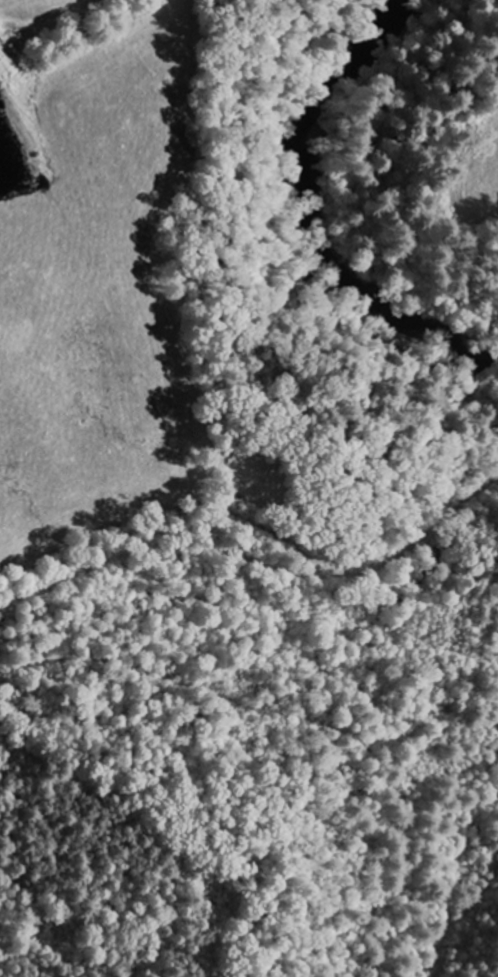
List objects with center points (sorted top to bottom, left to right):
river: (314, 215)

